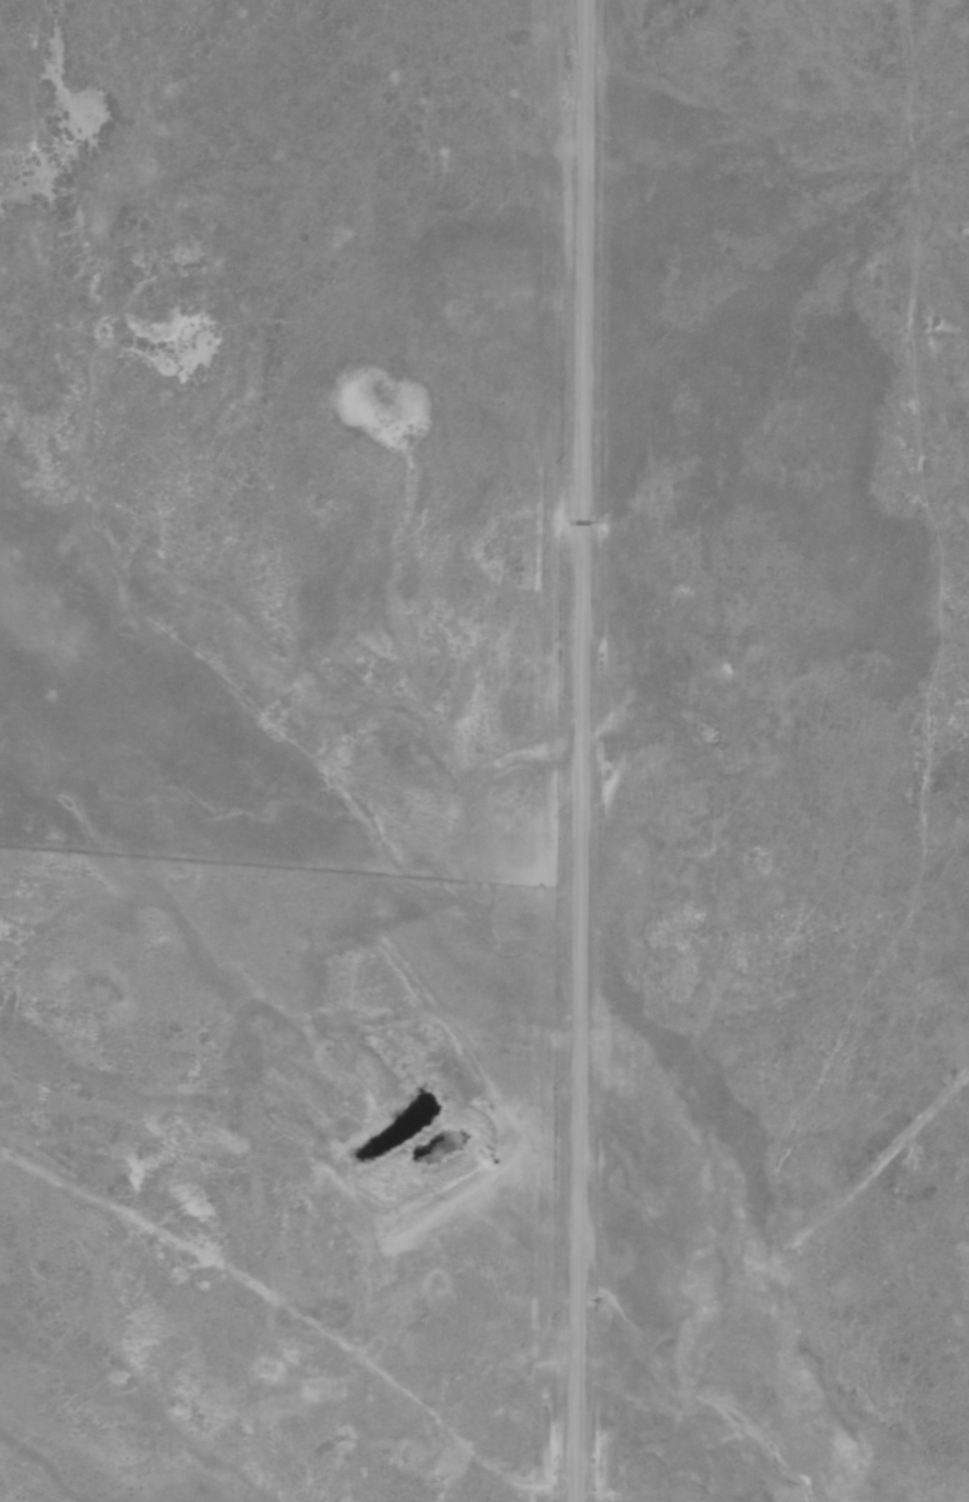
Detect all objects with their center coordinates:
road: (585, 751)

